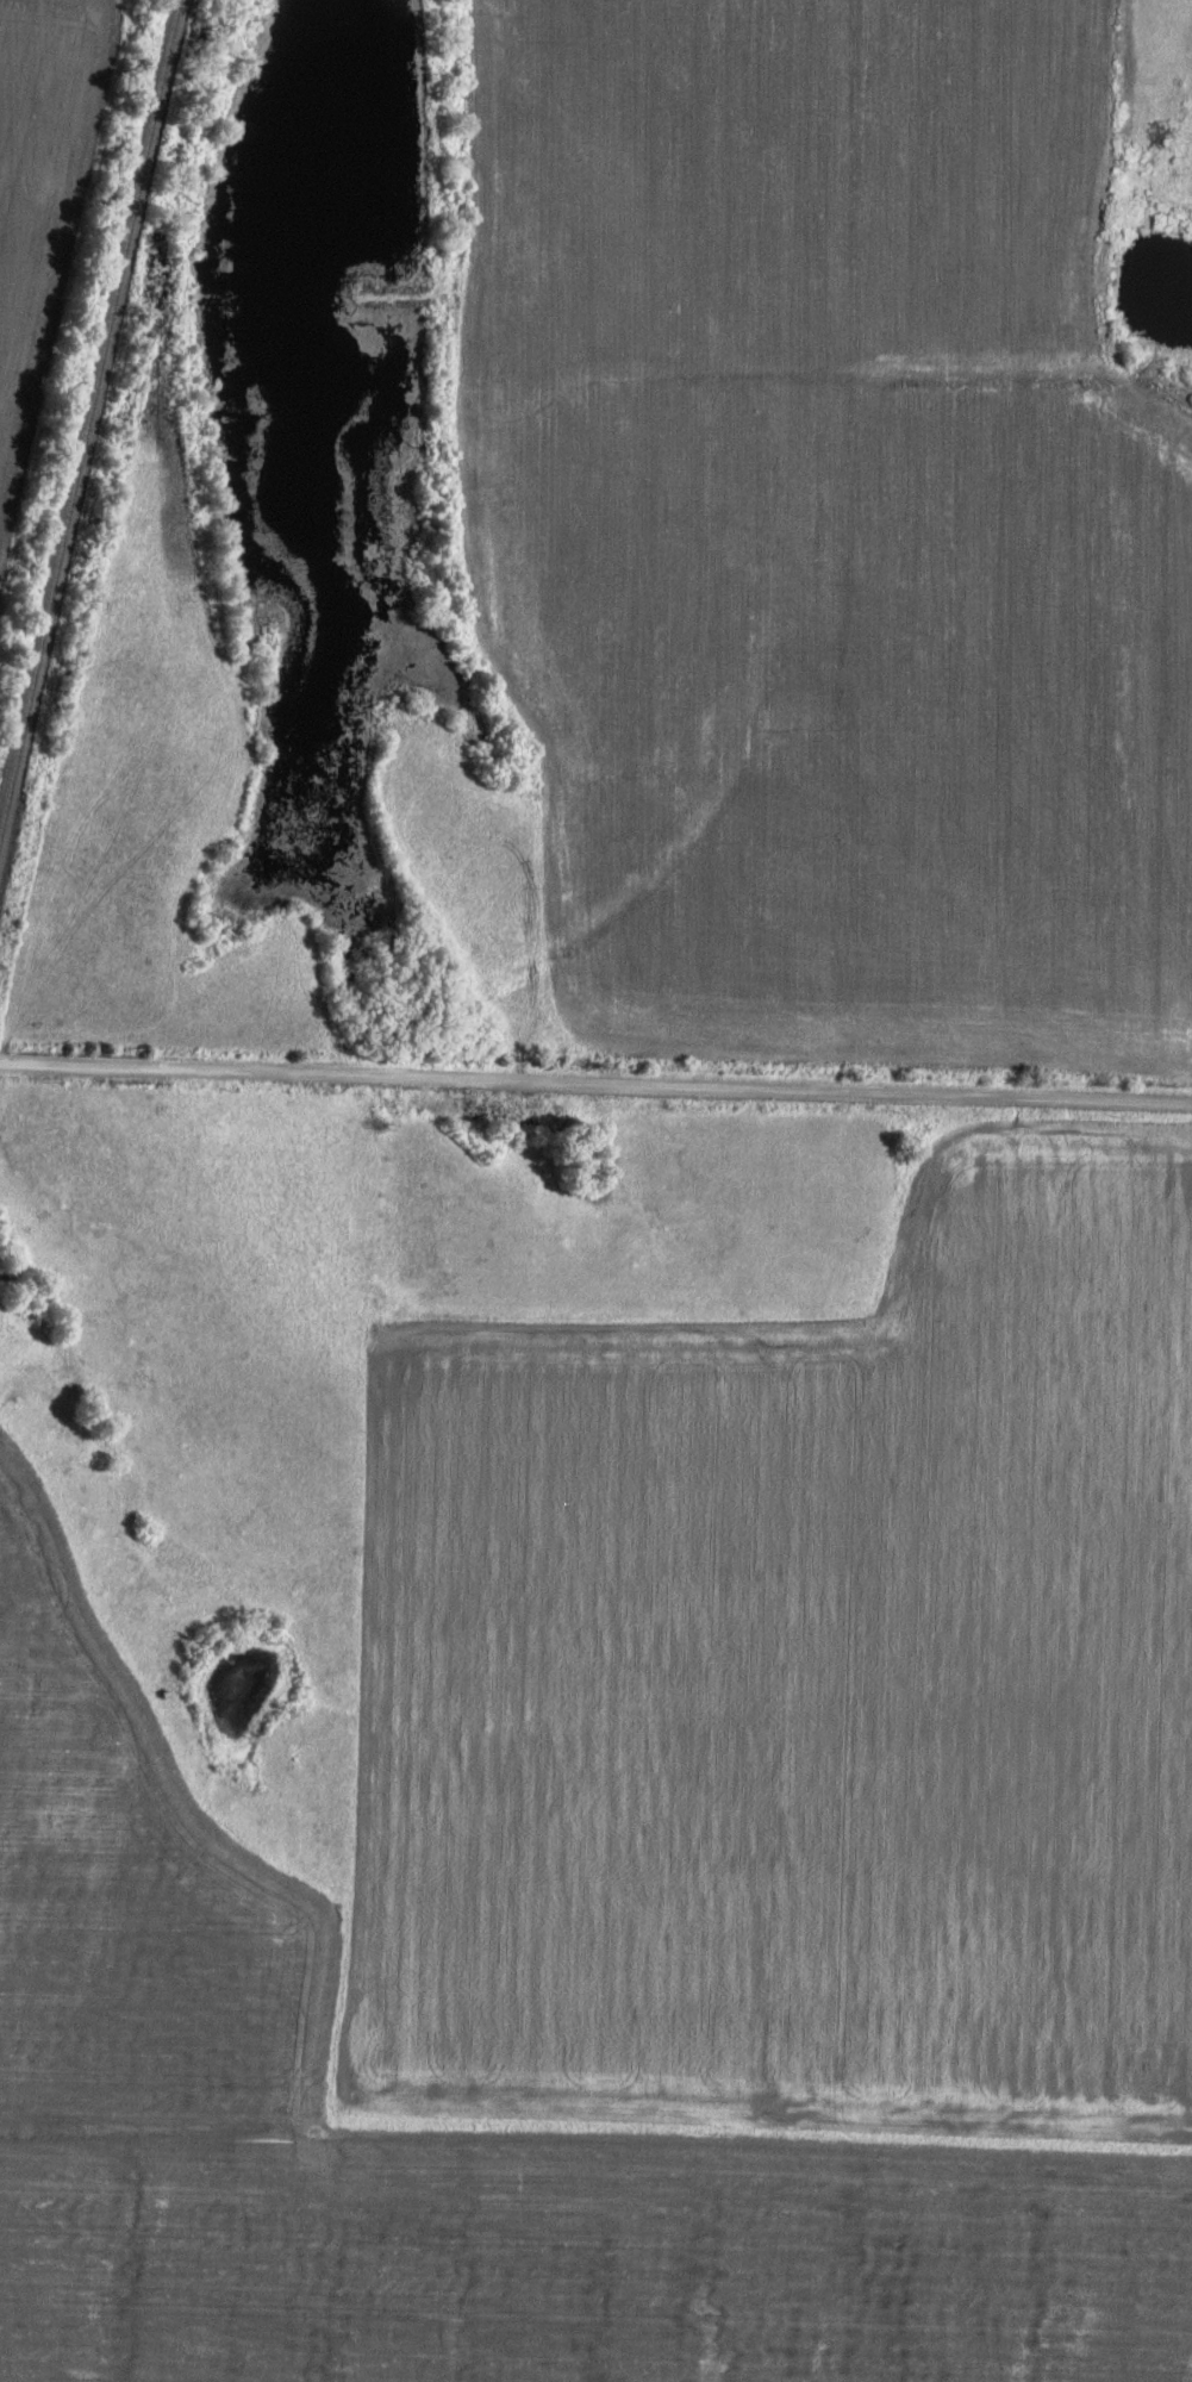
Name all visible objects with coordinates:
railway: (88, 412)
road: (595, 1086)

